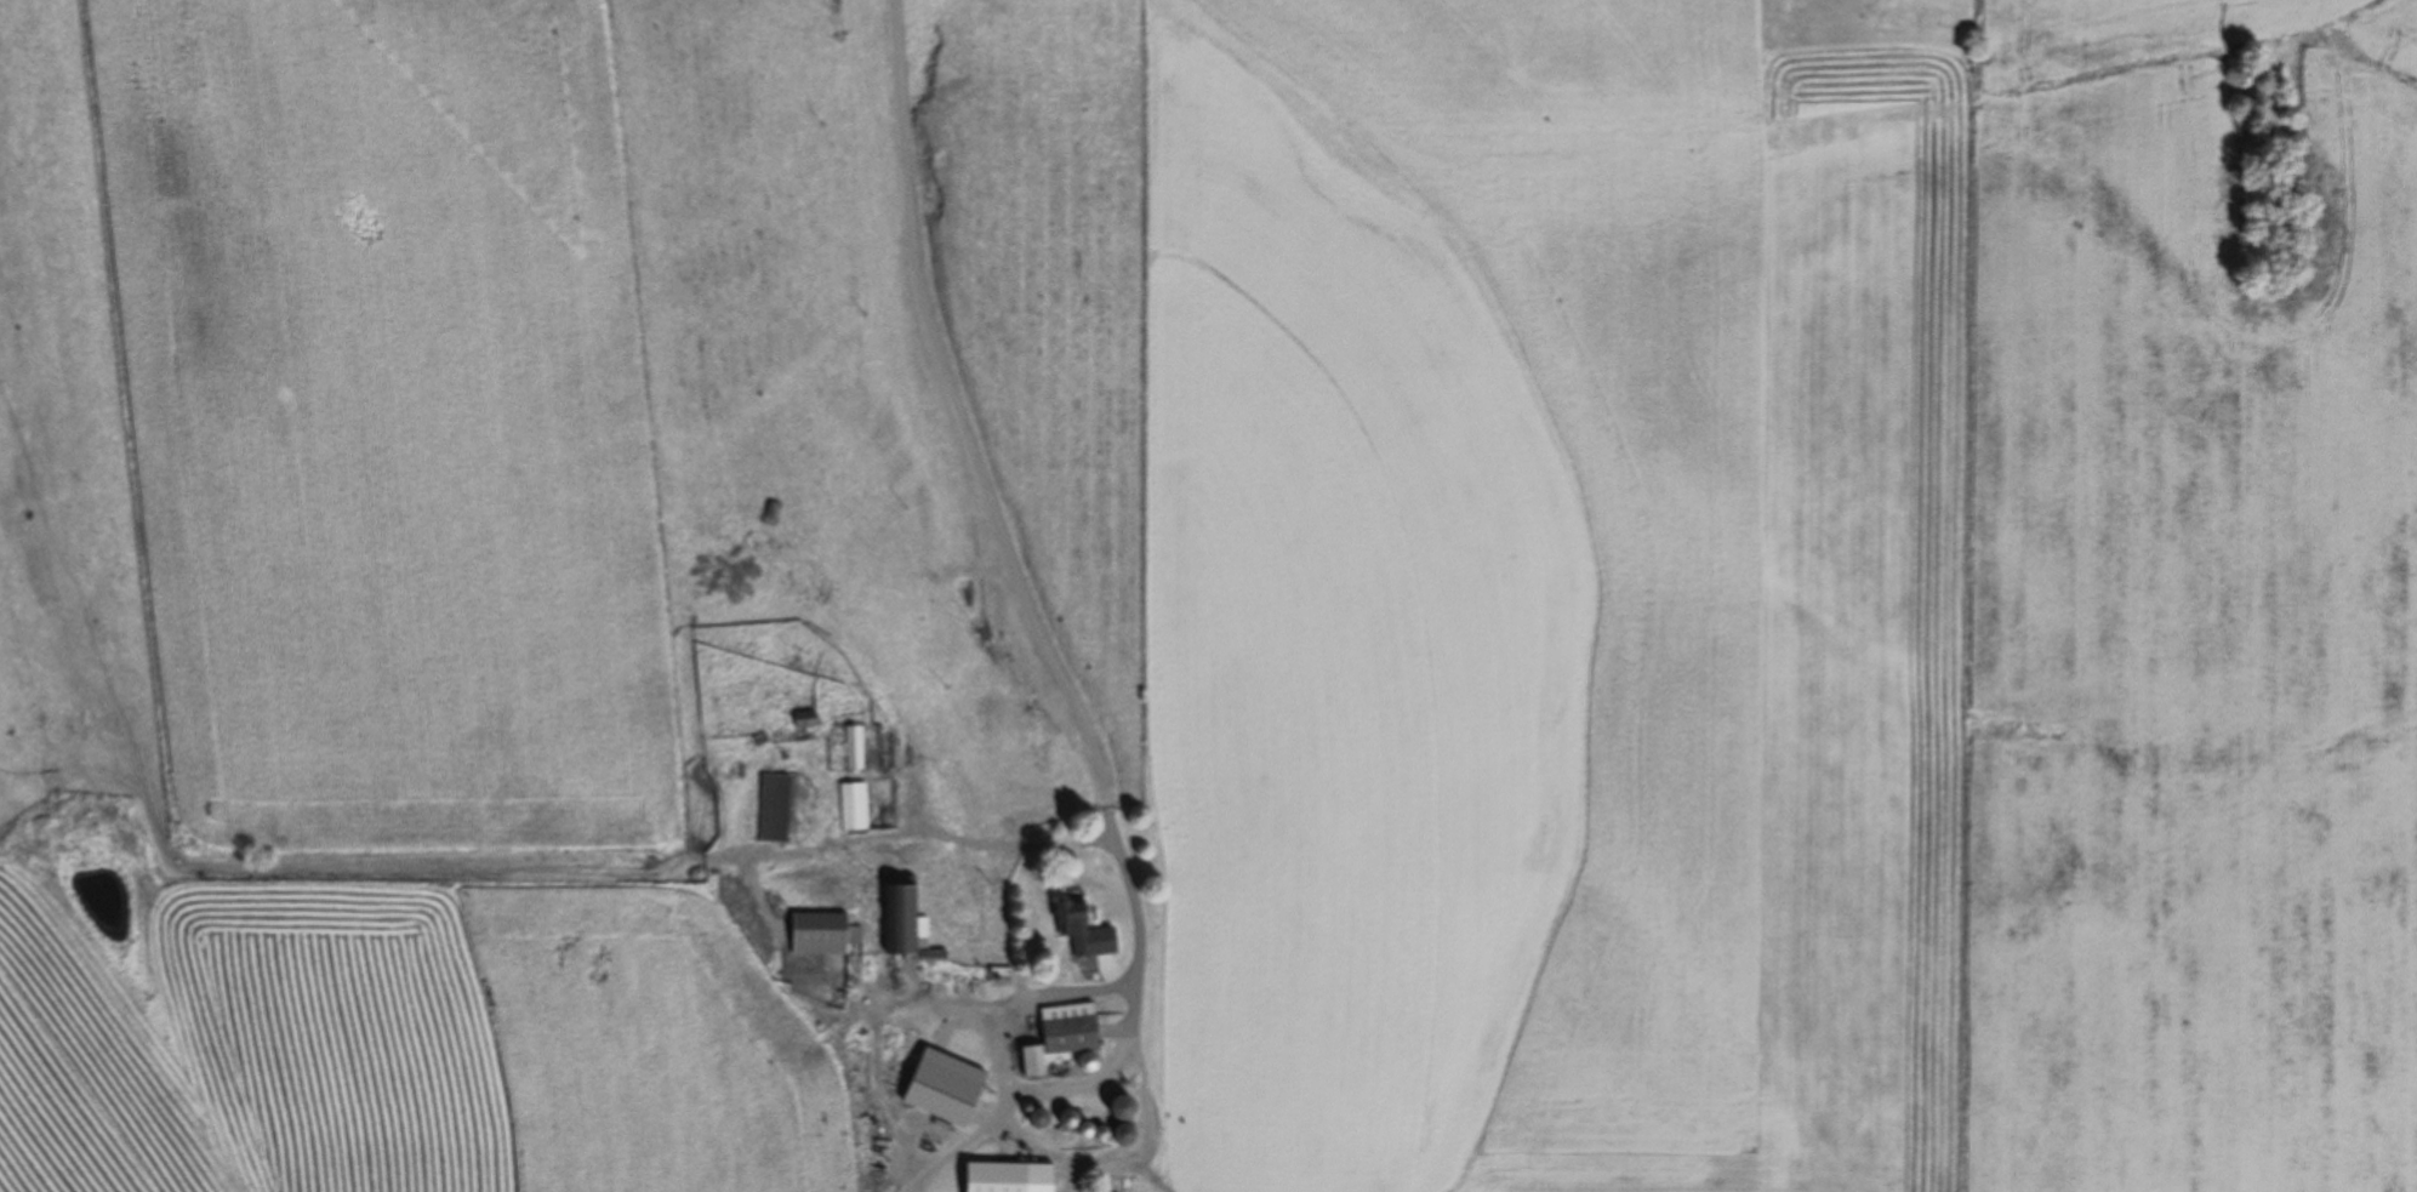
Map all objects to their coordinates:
road: (994, 487)
building: (800, 722)
building: (851, 748)
building: (851, 808)
building: (770, 809)
building: (1067, 918)
building: (900, 922)
building: (813, 934)
building: (1056, 1037)
building: (937, 1088)
building: (1112, 1108)
building: (1032, 1119)
building: (1067, 1122)
building: (1003, 1177)

